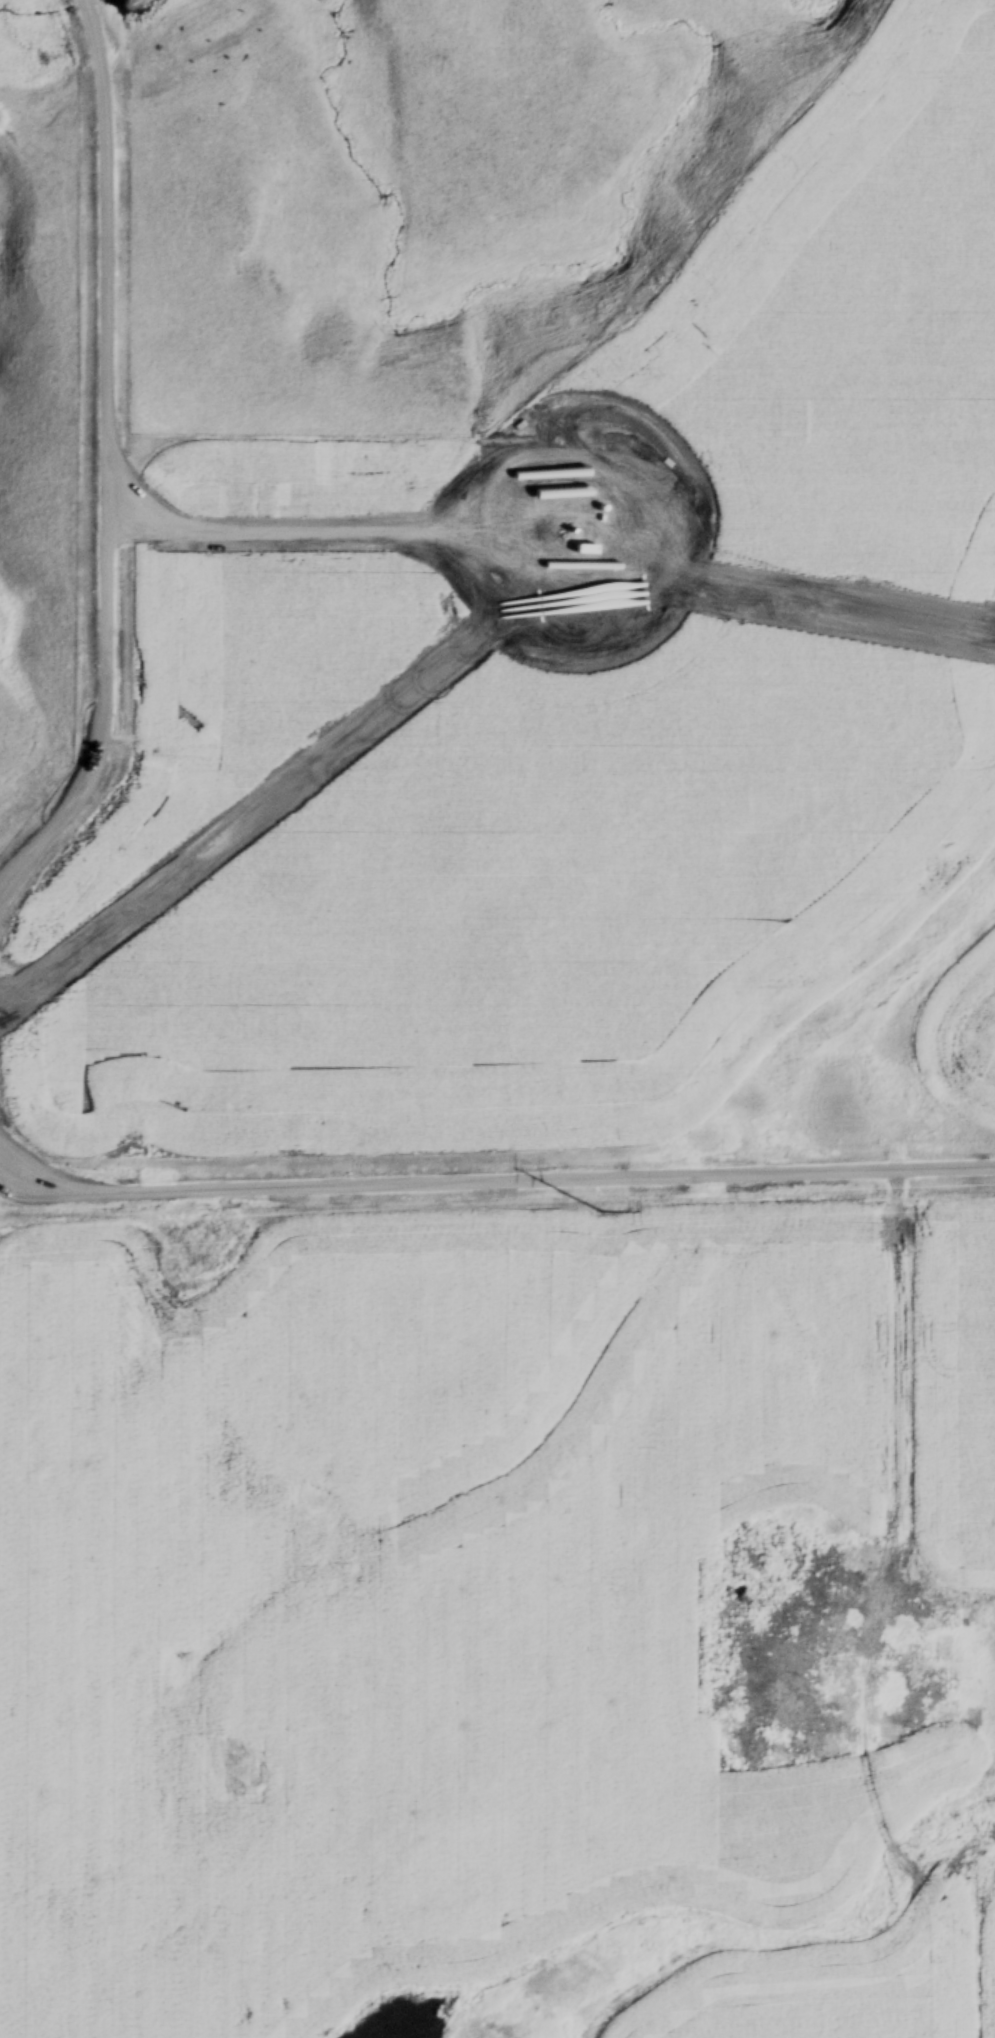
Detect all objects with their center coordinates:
road: (105, 458)
wind turbine: (576, 540)
road: (497, 1178)
power tower: (601, 1209)
road: (878, 1419)

